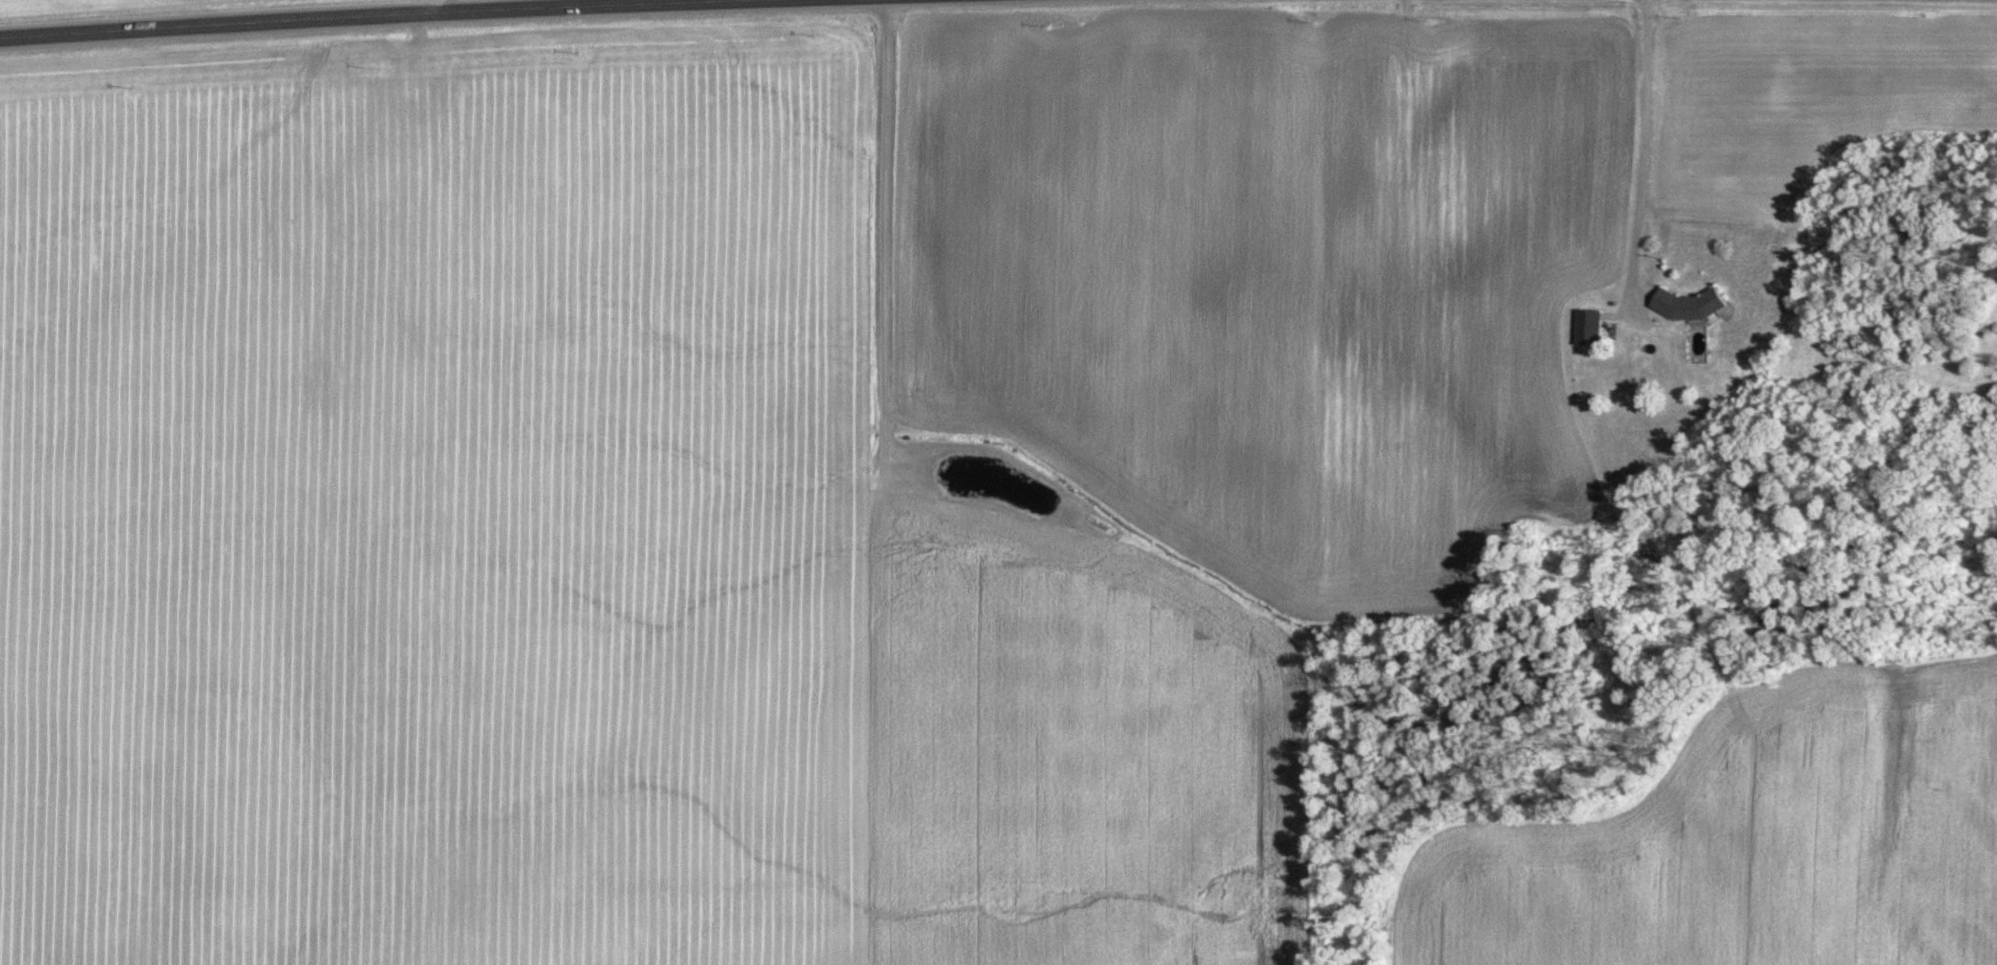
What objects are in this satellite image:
road: (397, 16)
building: (1696, 305)
building: (1594, 329)

